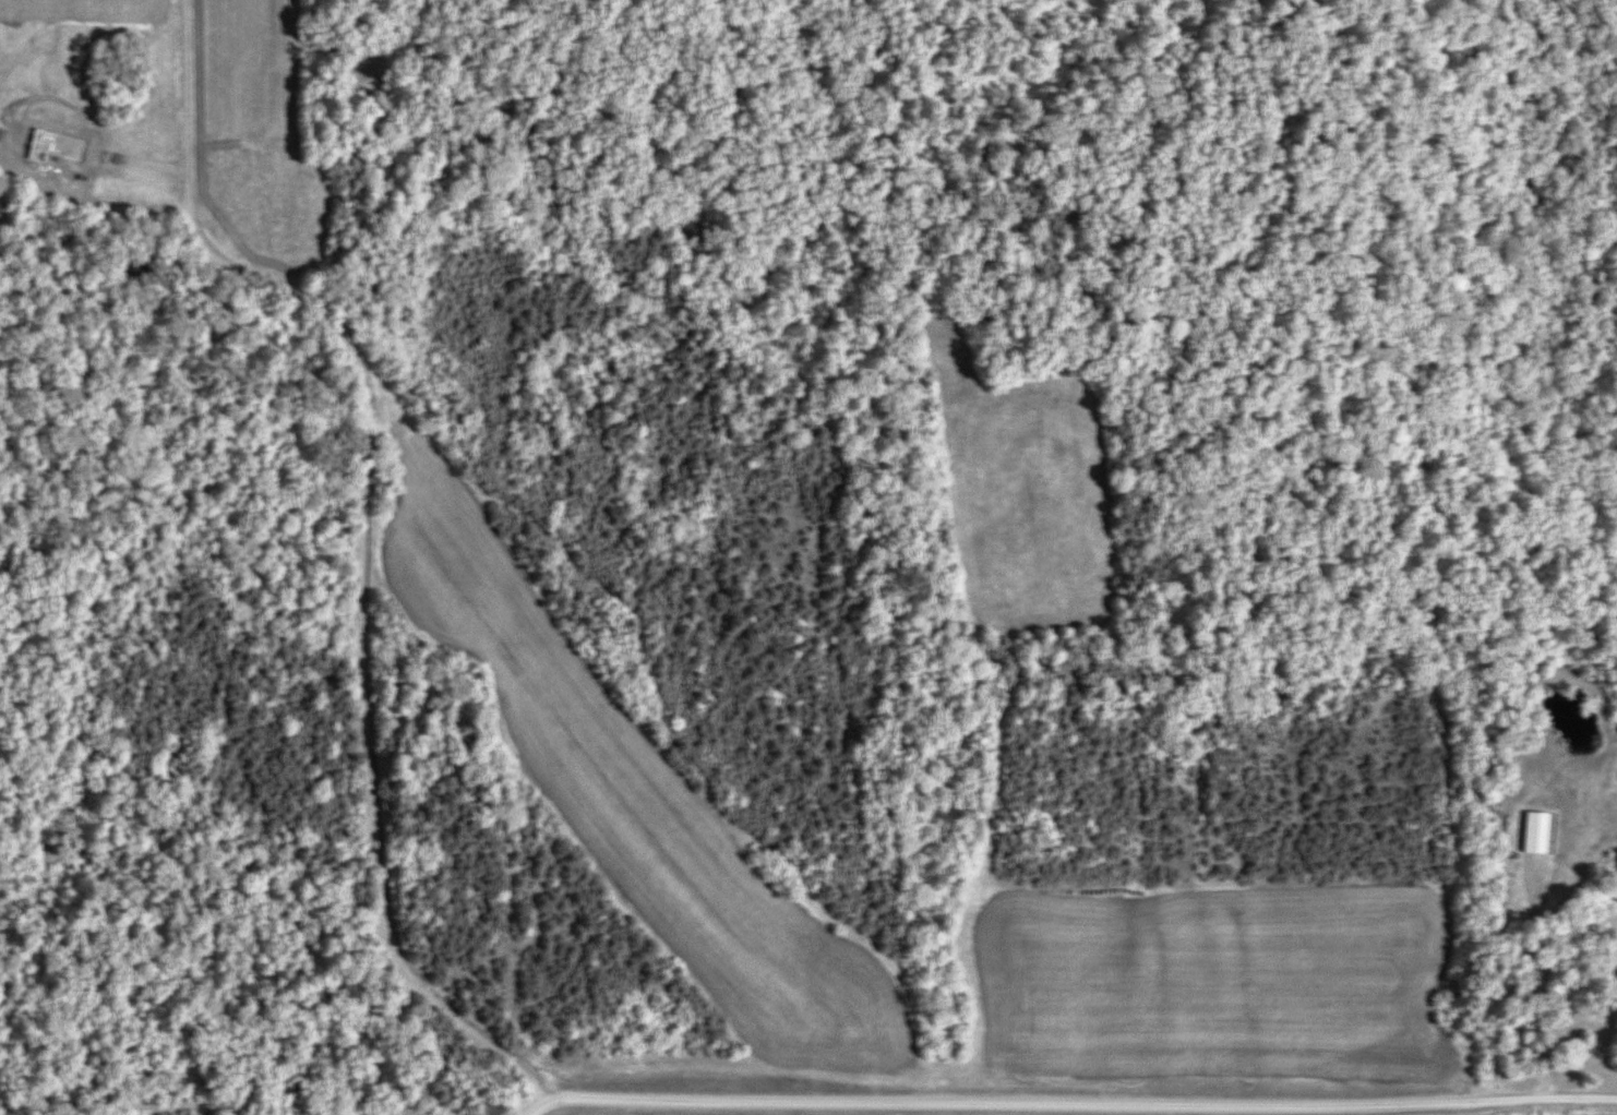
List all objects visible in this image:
building: (1531, 834)
road: (1076, 1108)

